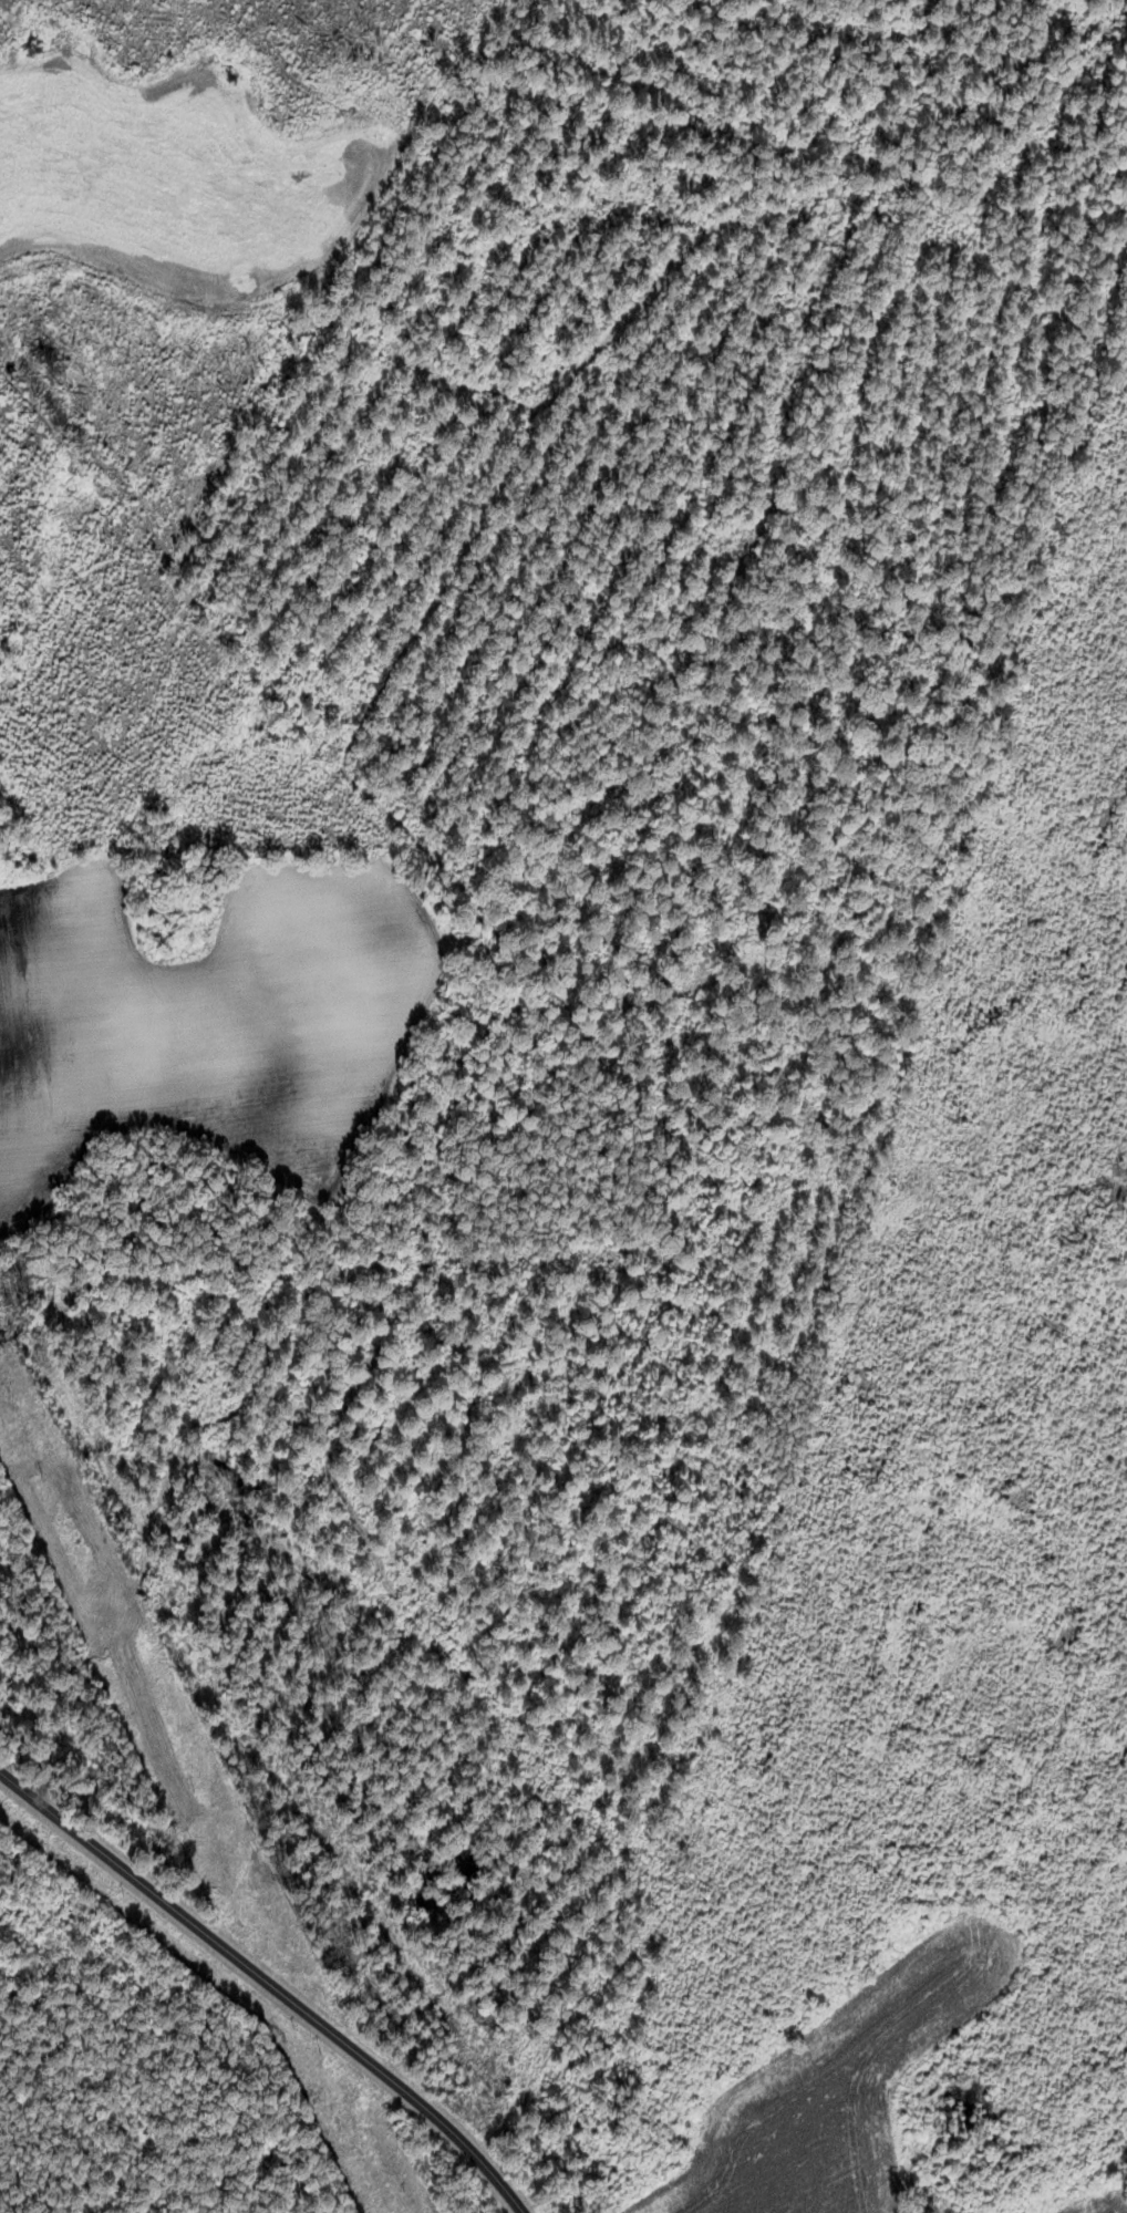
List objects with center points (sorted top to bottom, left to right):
road: (269, 1982)

